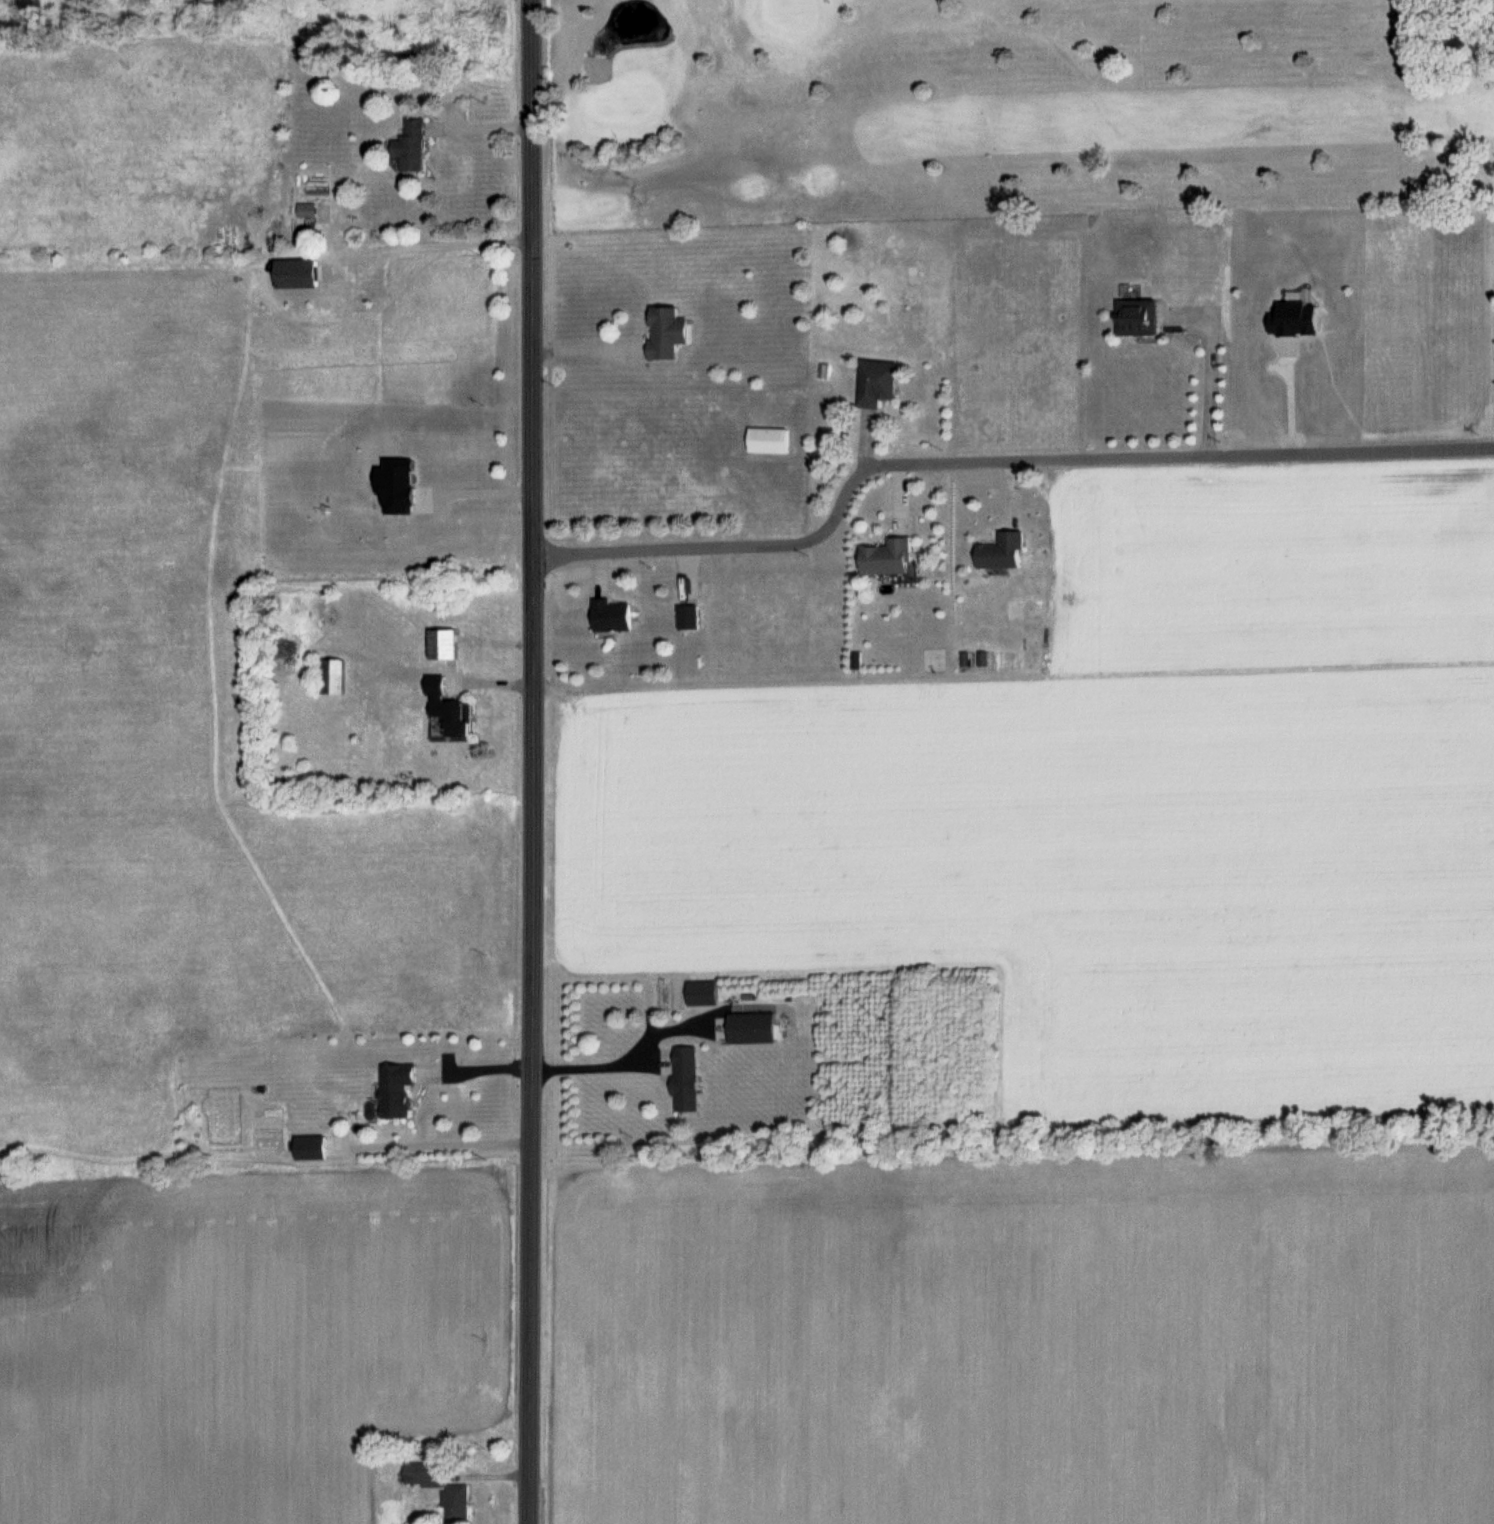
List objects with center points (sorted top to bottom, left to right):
park: (1019, 95)
road: (478, 125)
building: (410, 147)
building: (308, 216)
road: (440, 245)
building: (295, 275)
building: (1137, 318)
building: (666, 333)
road: (586, 350)
road: (1209, 381)
building: (877, 383)
road: (1289, 397)
building: (768, 440)
road: (994, 460)
road: (478, 489)
building: (1002, 552)
building: (887, 557)
building: (610, 617)
building: (688, 618)
building: (442, 645)
building: (335, 676)
building: (453, 718)
building: (371, 753)
road: (532, 762)
building: (701, 992)
building: (752, 1027)
road: (478, 1065)
road: (589, 1065)
building: (685, 1078)
building: (395, 1088)
building: (310, 1147)
road: (865, 1339)
building: (424, 1474)
building: (456, 1503)

